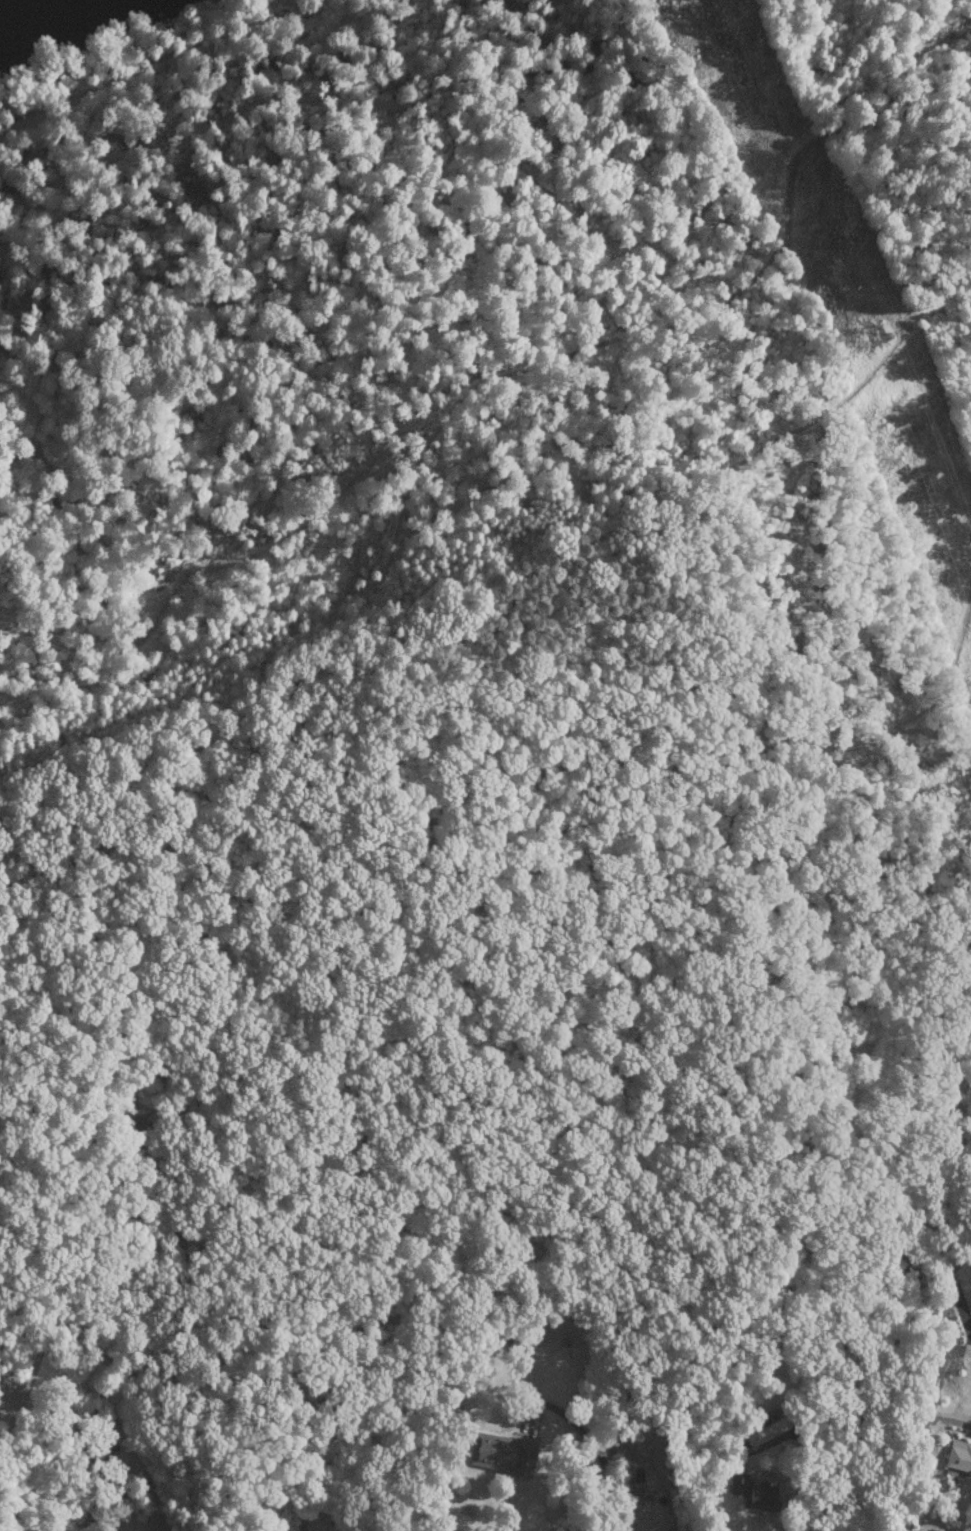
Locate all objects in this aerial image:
river: (5, 2)
railway: (151, 62)
building: (970, 1326)
road: (927, 1396)
building: (969, 1426)
building: (501, 1453)
building: (958, 1457)
road: (488, 1489)
road: (633, 1493)
building: (751, 1493)

